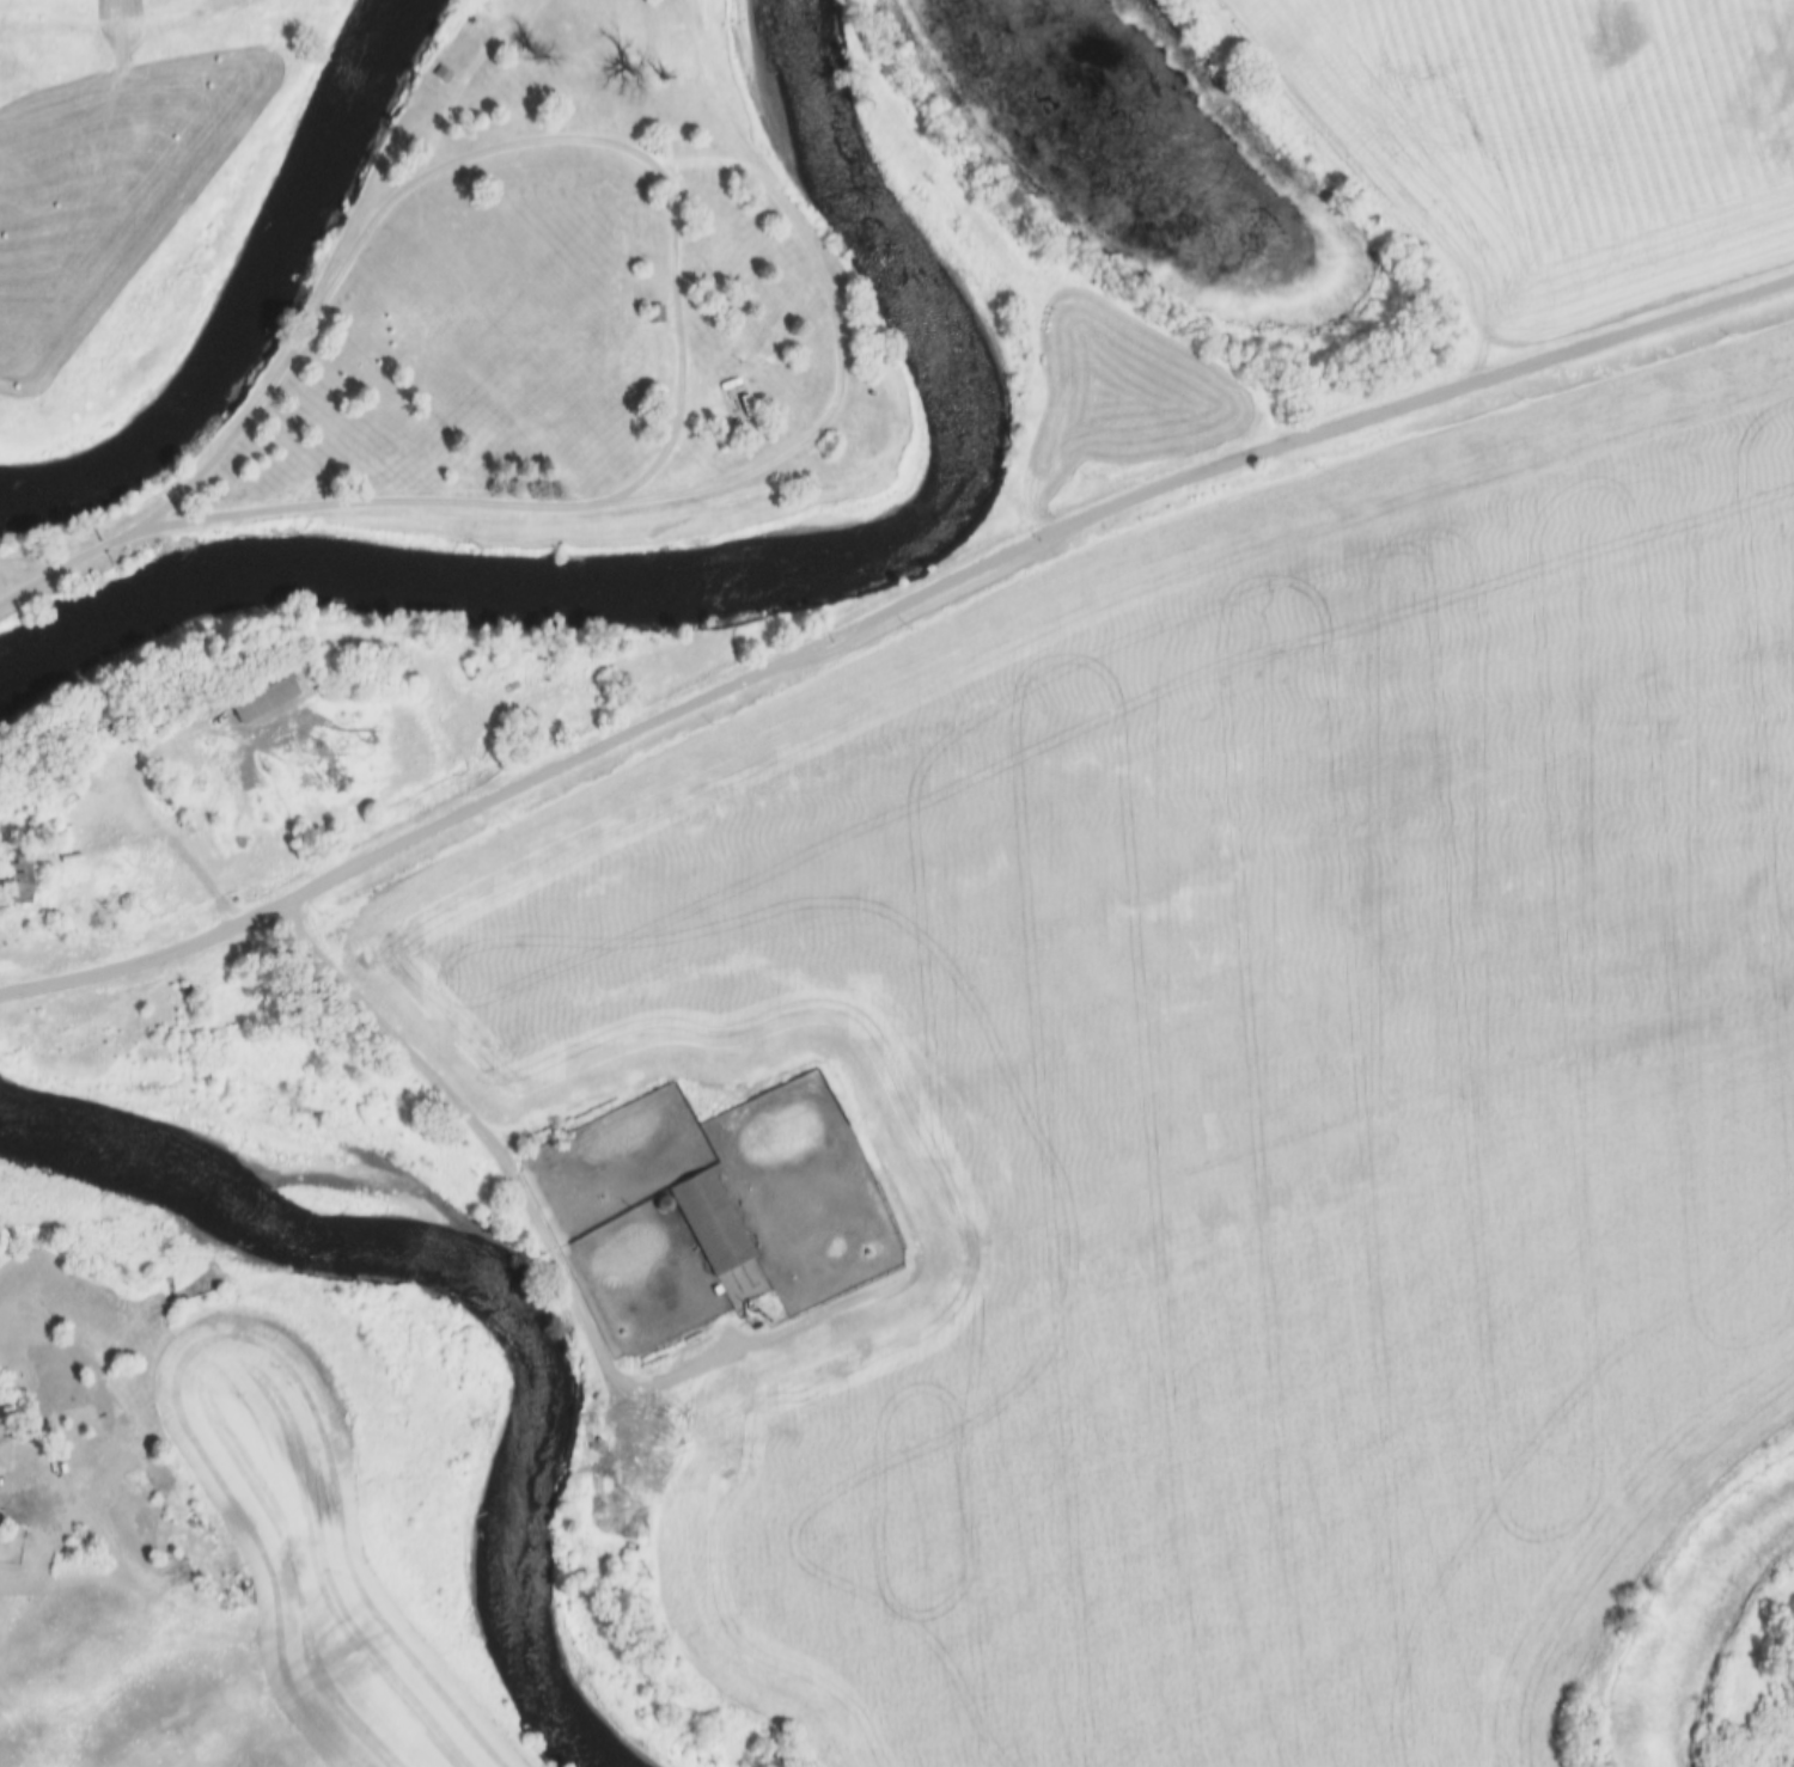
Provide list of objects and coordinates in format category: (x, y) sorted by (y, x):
building: (447, 74)
road: (671, 228)
river: (248, 298)
building: (658, 316)
road: (66, 563)
river: (737, 571)
road: (884, 607)
building: (276, 689)
building: (111, 733)
silo: (111, 733)
building: (132, 738)
building: (47, 831)
road: (170, 844)
building: (19, 880)
building: (663, 1205)
silo: (663, 1205)
building: (712, 1223)
river: (495, 1276)
road: (562, 1280)
building: (715, 1290)
building: (5, 1448)
road: (2, 1484)
building: (28, 1510)

